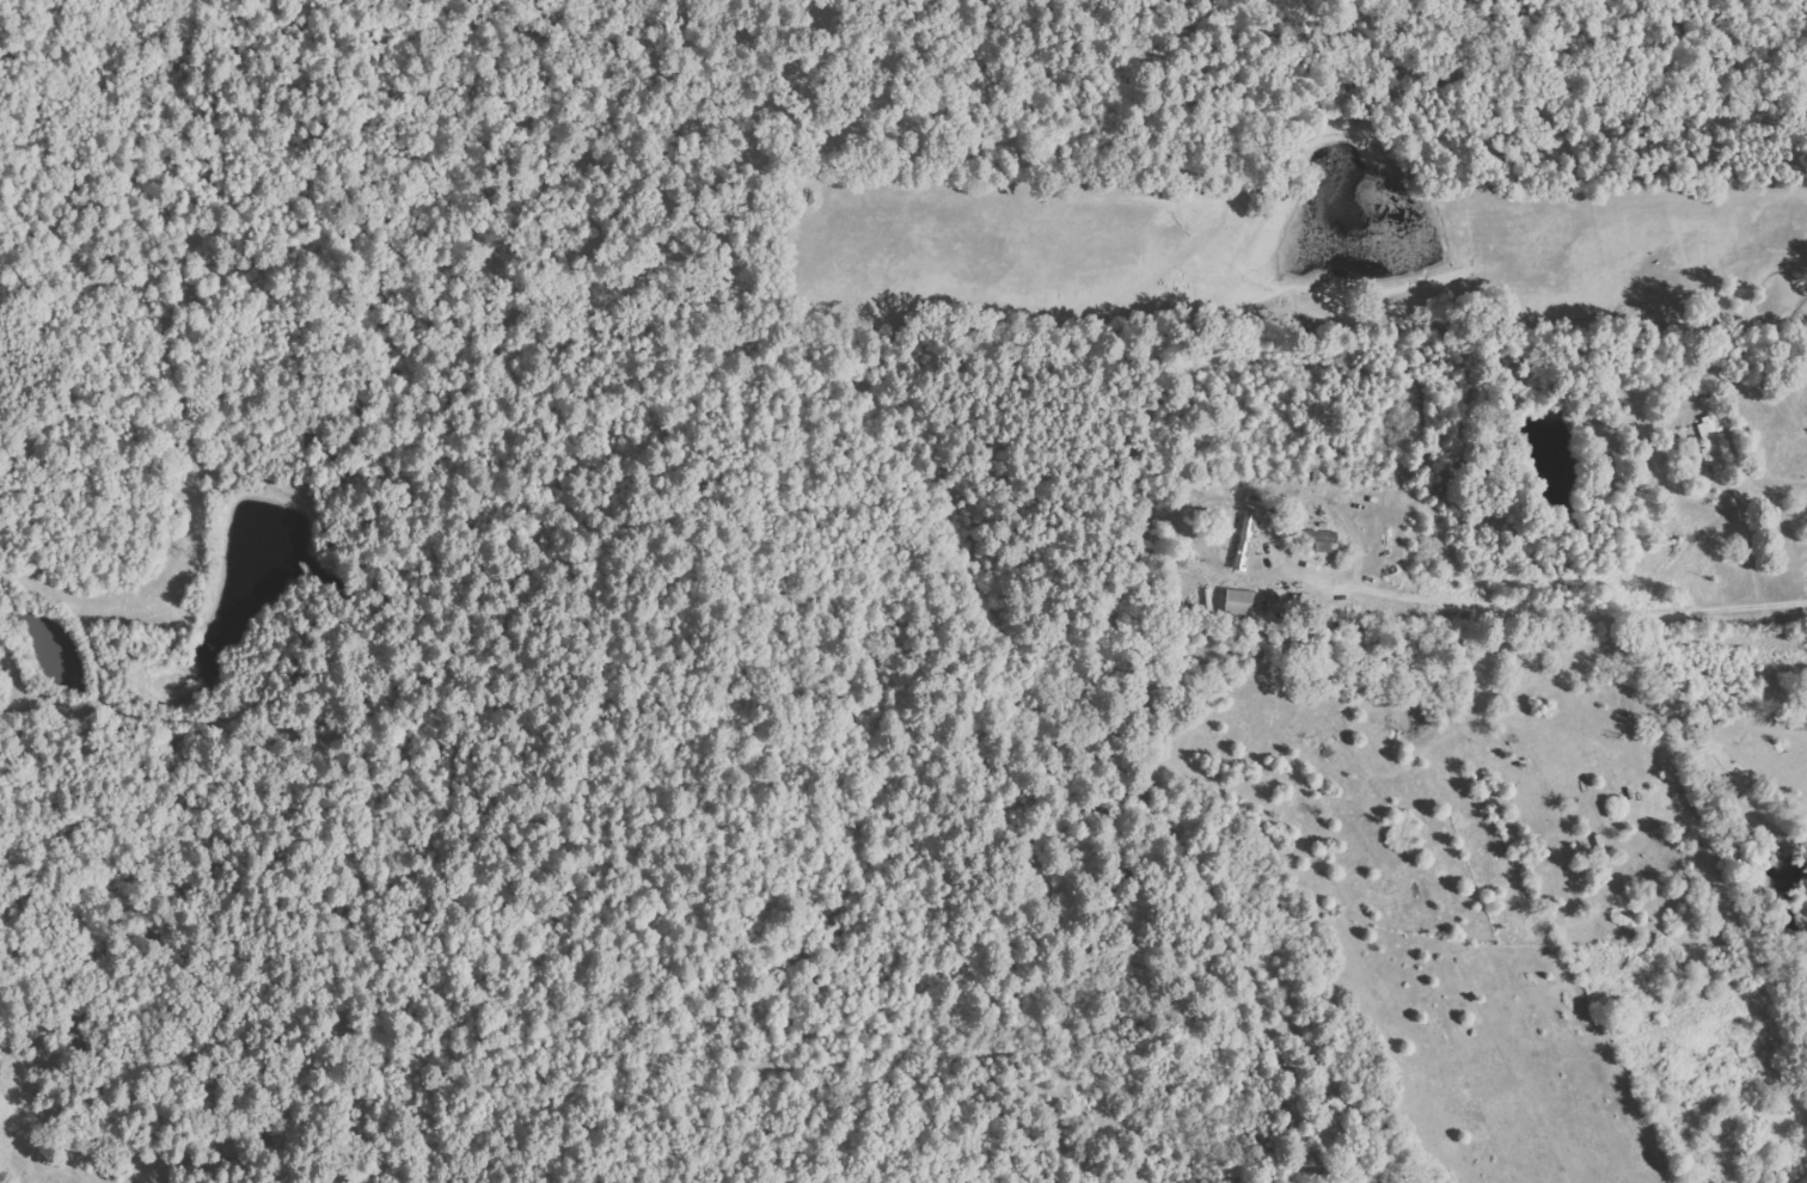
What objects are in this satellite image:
building: (1713, 445)
building: (1319, 540)
building: (1246, 541)
building: (1242, 601)

